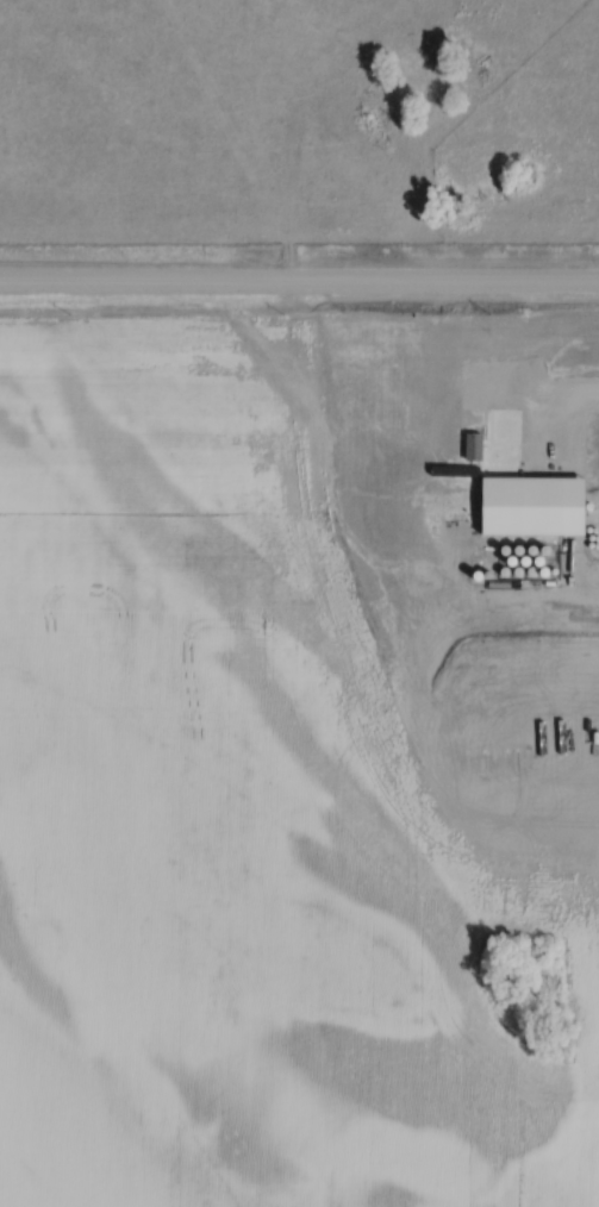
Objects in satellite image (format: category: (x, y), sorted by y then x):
road: (299, 287)
road: (551, 390)

